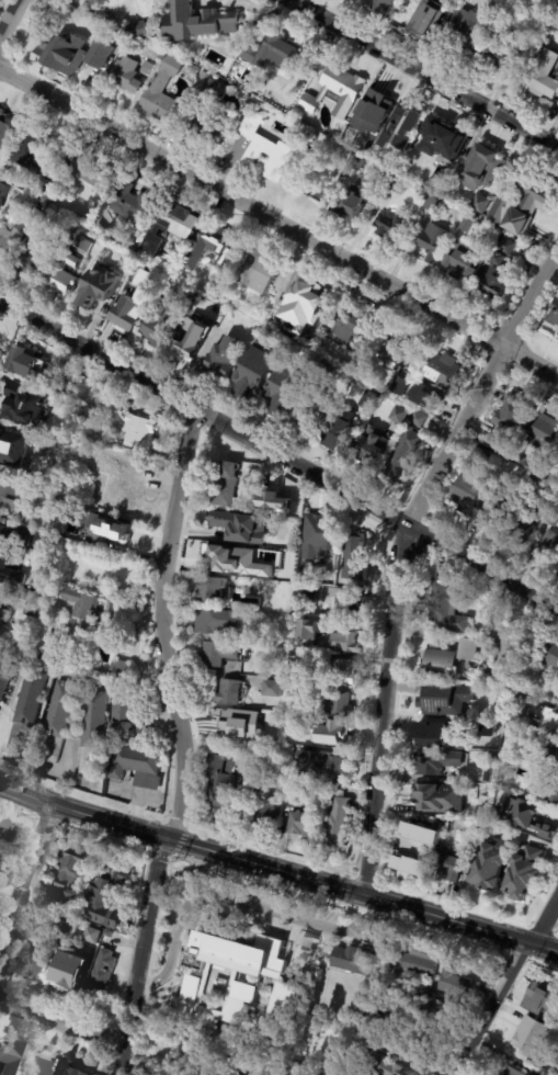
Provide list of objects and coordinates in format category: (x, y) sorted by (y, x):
building: (385, 7)
road: (9, 16)
building: (431, 20)
building: (200, 22)
building: (469, 27)
building: (136, 32)
building: (277, 52)
building: (509, 54)
building: (73, 56)
building: (129, 73)
road: (424, 73)
building: (545, 76)
building: (157, 88)
building: (340, 92)
building: (214, 114)
building: (386, 116)
building: (4, 127)
building: (401, 131)
building: (443, 142)
building: (271, 150)
building: (38, 154)
building: (360, 163)
building: (485, 165)
building: (15, 171)
building: (89, 172)
building: (396, 183)
building: (3, 193)
building: (130, 202)
building: (360, 203)
building: (434, 204)
building: (481, 204)
building: (526, 204)
building: (49, 213)
road: (278, 220)
building: (392, 224)
building: (468, 225)
building: (170, 226)
building: (79, 237)
building: (433, 241)
building: (10, 244)
building: (221, 245)
building: (508, 247)
building: (36, 258)
building: (464, 262)
building: (259, 272)
building: (65, 274)
building: (497, 278)
building: (100, 288)
building: (308, 298)
building: (201, 304)
building: (132, 310)
building: (553, 316)
building: (163, 327)
building: (356, 329)
building: (557, 335)
building: (192, 340)
building: (398, 348)
building: (217, 361)
building: (26, 364)
building: (255, 372)
building: (444, 373)
building: (64, 384)
building: (102, 385)
building: (400, 386)
building: (285, 391)
building: (430, 399)
building: (368, 400)
building: (26, 405)
building: (309, 409)
building: (517, 412)
building: (400, 416)
building: (418, 420)
building: (128, 422)
building: (339, 433)
building: (546, 434)
building: (505, 440)
building: (369, 445)
building: (13, 449)
road: (277, 453)
building: (405, 456)
building: (472, 482)
building: (557, 482)
building: (122, 485)
building: (227, 486)
building: (14, 496)
building: (273, 497)
building: (500, 505)
building: (39, 521)
building: (111, 528)
building: (242, 528)
building: (322, 535)
building: (41, 540)
building: (549, 546)
building: (12, 547)
road: (401, 550)
building: (355, 557)
building: (218, 558)
building: (557, 573)
building: (53, 586)
building: (213, 590)
building: (308, 592)
building: (351, 609)
building: (451, 609)
building: (34, 611)
building: (4, 614)
building: (84, 615)
building: (219, 622)
building: (310, 631)
building: (509, 638)
building: (345, 643)
building: (220, 655)
building: (554, 658)
building: (304, 659)
building: (451, 663)
building: (121, 672)
building: (346, 672)
building: (7, 676)
building: (296, 688)
building: (274, 690)
building: (228, 693)
building: (437, 702)
building: (341, 705)
building: (29, 708)
building: (546, 717)
building: (58, 720)
building: (127, 720)
road: (2, 721)
building: (236, 726)
building: (479, 727)
building: (93, 732)
building: (331, 735)
building: (433, 736)
road: (180, 742)
building: (537, 743)
building: (304, 755)
building: (554, 759)
building: (437, 763)
building: (137, 767)
building: (553, 767)
building: (332, 770)
building: (220, 780)
building: (283, 785)
building: (550, 790)
building: (437, 797)
building: (266, 815)
building: (339, 818)
building: (528, 818)
building: (301, 824)
building: (5, 829)
building: (474, 837)
building: (409, 852)
building: (452, 867)
building: (493, 867)
road: (277, 868)
building: (71, 869)
building: (0, 870)
building: (527, 874)
road: (31, 892)
building: (109, 895)
building: (61, 902)
road: (242, 903)
building: (215, 920)
building: (107, 933)
building: (92, 935)
building: (44, 951)
building: (356, 959)
building: (420, 962)
building: (71, 971)
building: (103, 973)
building: (455, 983)
road: (503, 983)
building: (190, 988)
building: (542, 998)
building: (236, 1000)
building: (392, 1000)
building: (343, 1003)
building: (428, 1006)
building: (282, 1007)
building: (375, 1009)
road: (64, 1027)
building: (407, 1038)
building: (536, 1038)
building: (8, 1059)
building: (35, 1065)
building: (386, 1066)
building: (71, 1068)
building: (241, 1071)
building: (510, 1071)

